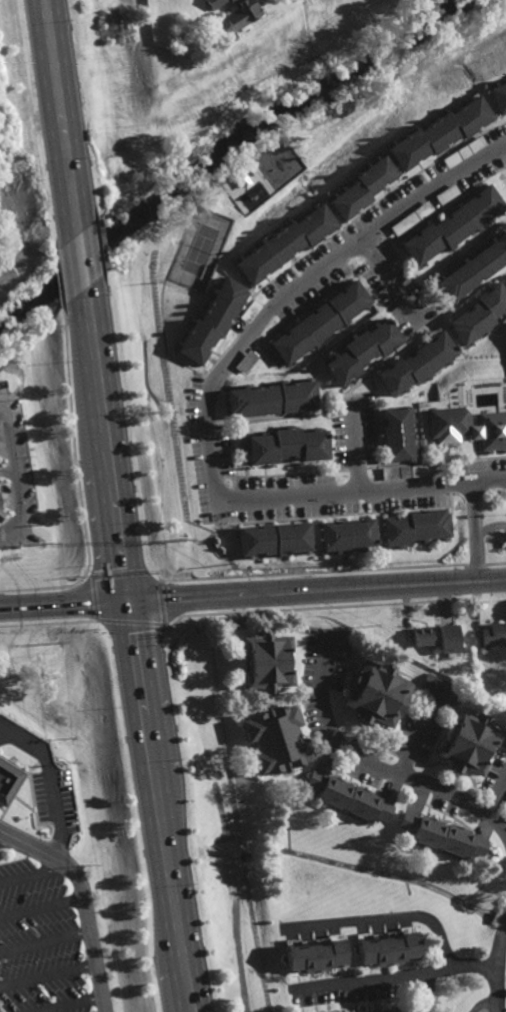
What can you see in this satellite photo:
building: (232, 1)
building: (214, 3)
building: (241, 14)
building: (498, 97)
road: (71, 113)
road: (48, 120)
building: (440, 134)
building: (466, 152)
building: (364, 188)
building: (449, 194)
building: (413, 218)
building: (367, 220)
building: (454, 227)
building: (286, 244)
park: (199, 250)
road: (91, 251)
road: (69, 269)
building: (476, 271)
road: (390, 278)
building: (251, 313)
building: (481, 316)
building: (212, 323)
building: (321, 324)
building: (366, 351)
building: (245, 359)
building: (417, 363)
building: (272, 394)
road: (209, 395)
building: (451, 421)
building: (493, 428)
building: (400, 430)
road: (117, 439)
building: (286, 441)
road: (8, 442)
road: (355, 446)
road: (93, 448)
building: (406, 470)
road: (18, 500)
building: (0, 519)
building: (417, 525)
building: (349, 532)
road: (475, 532)
building: (276, 537)
road: (323, 590)
road: (127, 601)
traffic signals: (141, 601)
traffic signals: (113, 602)
road: (56, 605)
building: (495, 633)
building: (423, 635)
building: (449, 637)
building: (342, 643)
building: (268, 660)
building: (441, 687)
building: (378, 693)
building: (496, 694)
building: (276, 739)
building: (469, 742)
road: (414, 743)
road: (375, 768)
road: (48, 780)
building: (8, 781)
road: (495, 793)
building: (348, 797)
road: (171, 806)
road: (145, 807)
building: (442, 835)
road: (32, 874)
road: (84, 899)
road: (42, 906)
road: (387, 917)
road: (45, 940)
building: (389, 950)
building: (317, 958)
road: (495, 965)
road: (49, 975)
road: (393, 976)
road: (480, 1003)
road: (71, 1004)
building: (416, 1009)
building: (392, 1011)

